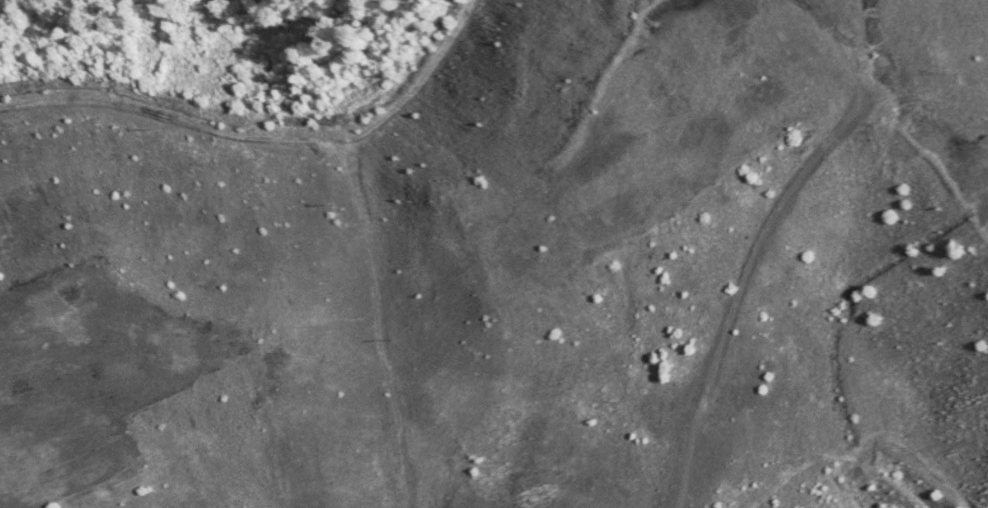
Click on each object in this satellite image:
quarry: (512, 267)

